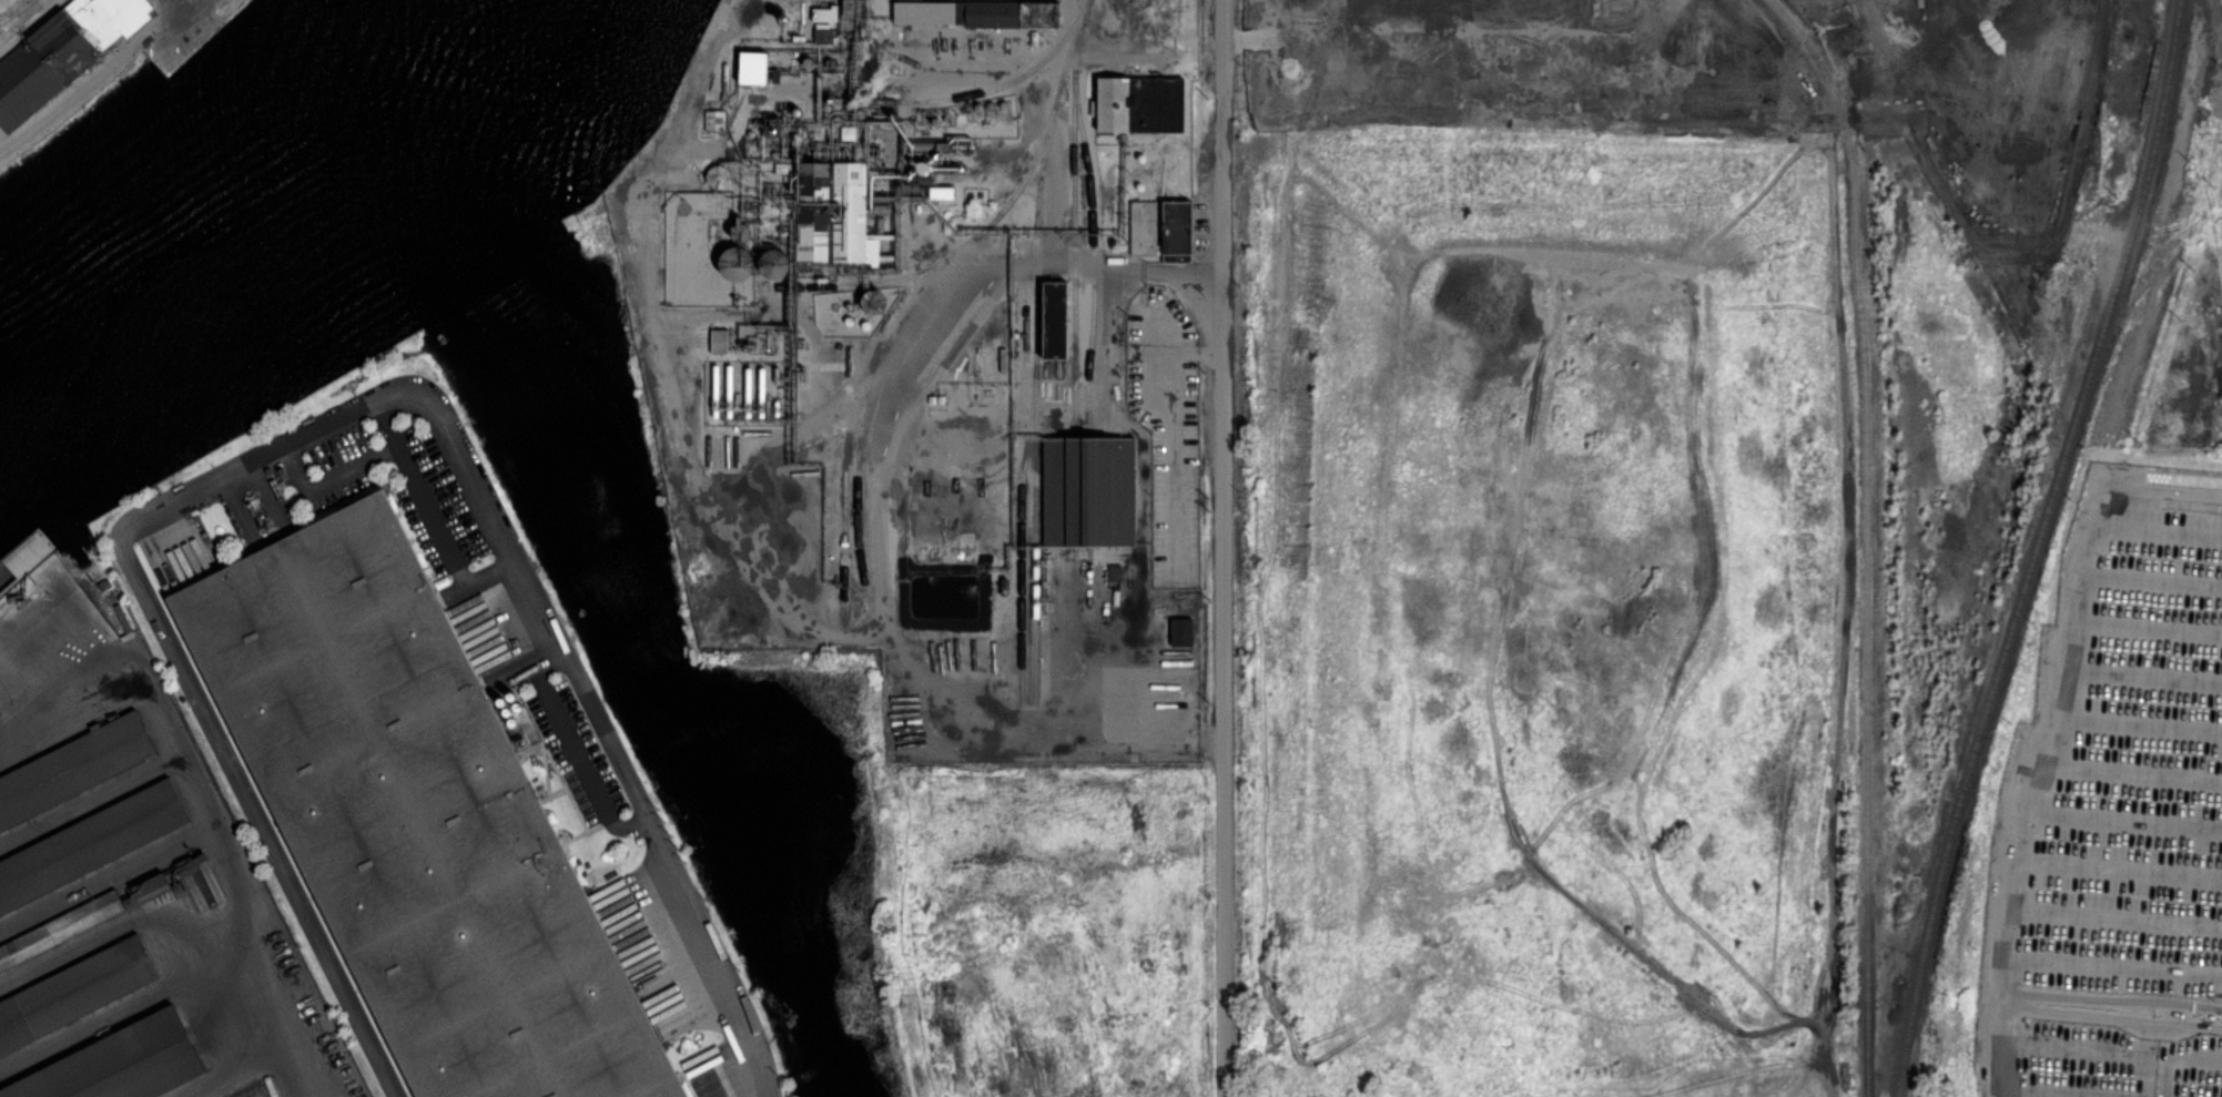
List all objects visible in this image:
railway: (728, 1)
building: (980, 14)
building: (824, 34)
building: (63, 53)
building: (754, 69)
railway: (988, 90)
building: (1139, 105)
building: (716, 121)
building: (841, 134)
building: (718, 176)
building: (942, 192)
building: (822, 212)
railway: (1075, 217)
railway: (994, 222)
railway: (1092, 224)
building: (1144, 227)
building: (740, 231)
building: (1177, 232)
river: (267, 233)
building: (737, 262)
building: (773, 263)
building: (873, 302)
building: (1056, 321)
building: (719, 339)
building: (933, 399)
building: (943, 400)
railway: (1036, 402)
railway: (856, 407)
road: (339, 415)
road: (389, 424)
railway: (859, 463)
road: (412, 474)
building: (1088, 491)
railway: (1075, 492)
road: (2158, 530)
railway: (1024, 534)
railway: (1867, 537)
railway: (2038, 547)
road: (1225, 548)
railway: (1076, 560)
building: (1119, 572)
road: (2152, 580)
building: (106, 626)
road: (2147, 629)
building: (1181, 632)
road: (522, 670)
road: (2141, 676)
road: (2135, 723)
road: (2047, 729)
parking lot: (578, 754)
road: (581, 760)
building: (73, 770)
road: (2131, 772)
road: (205, 805)
parking lot: (2116, 812)
building: (414, 819)
road: (2125, 821)
building: (90, 845)
building: (187, 866)
road: (2120, 870)
building: (150, 886)
road: (2114, 917)
building: (60, 930)
road: (2112, 965)
building: (74, 994)
road: (2071, 1004)
road: (2143, 1010)
road: (2110, 1047)
road: (713, 1059)
building: (121, 1064)
parking lot: (707, 1076)
road: (2050, 1094)

